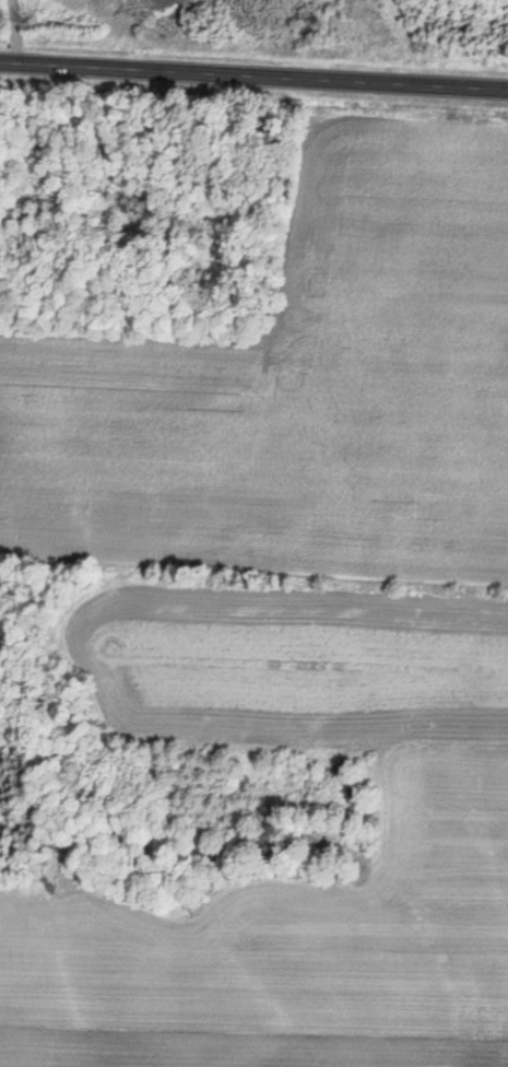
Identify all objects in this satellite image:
road: (253, 77)

